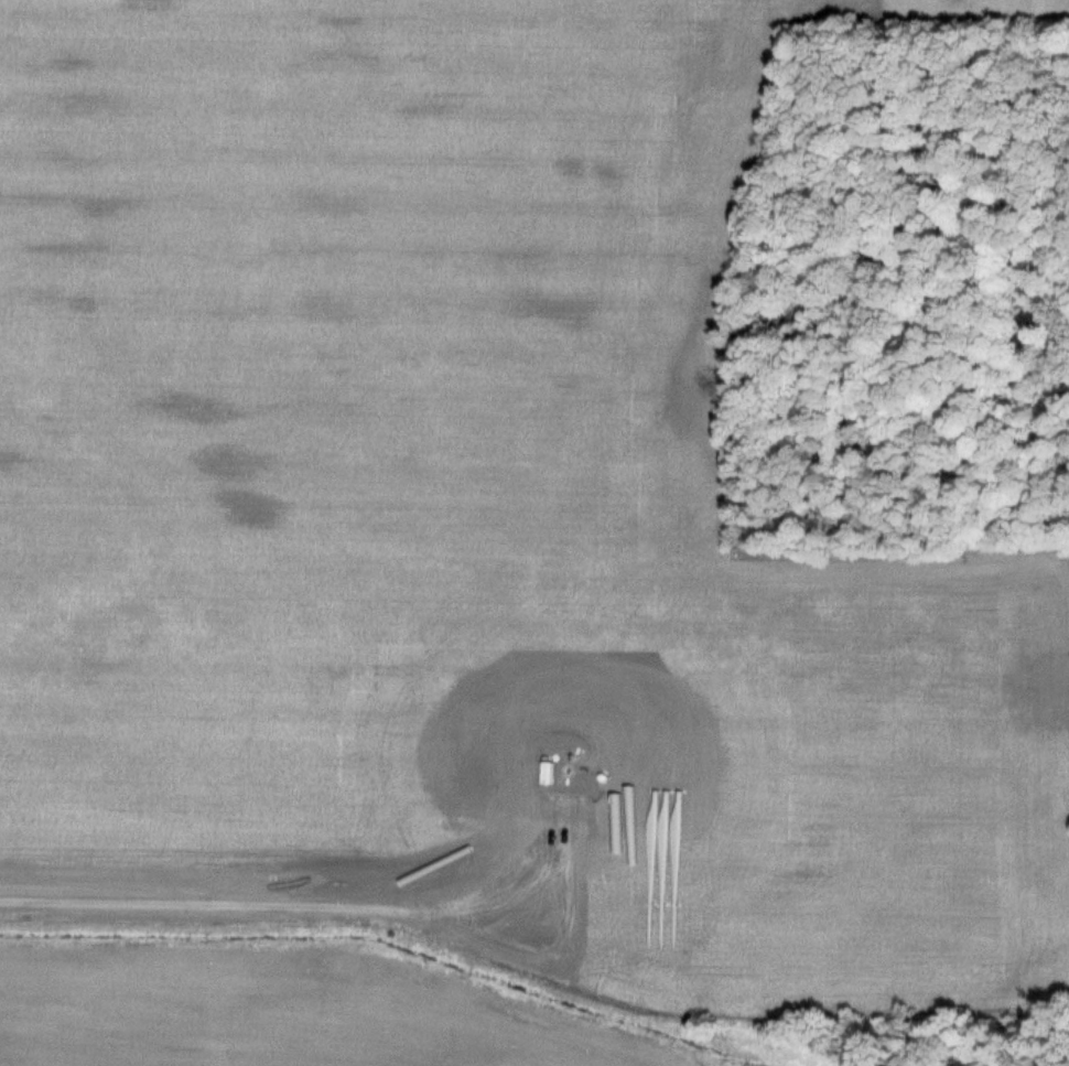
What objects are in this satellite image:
wind turbine: (571, 784)
road: (248, 894)

